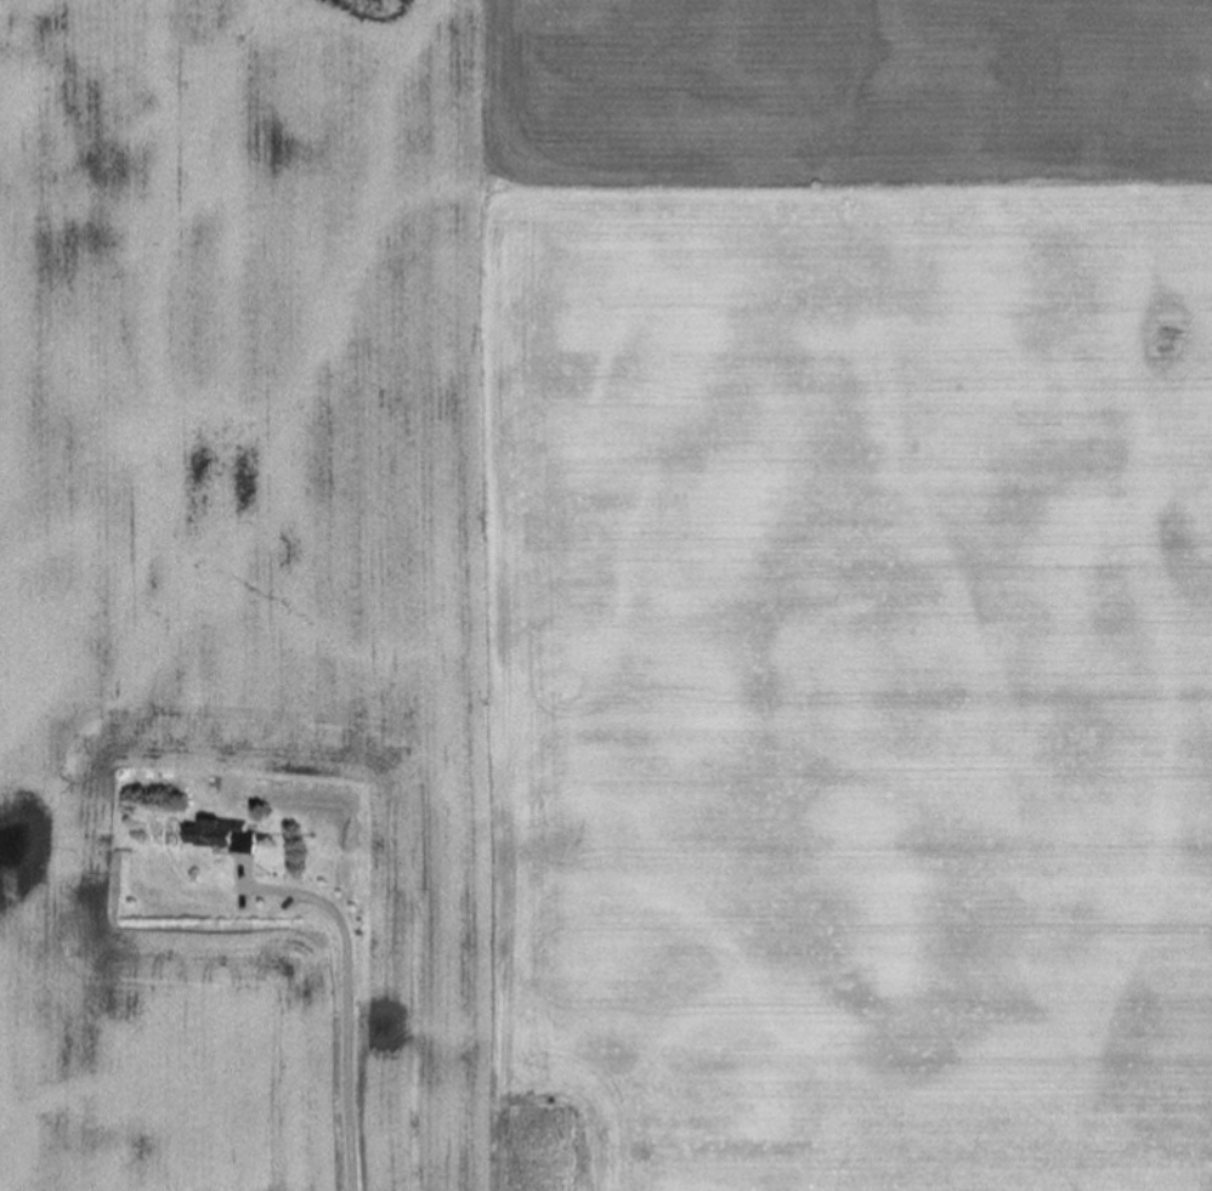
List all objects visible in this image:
building: (230, 836)
road: (350, 1002)

